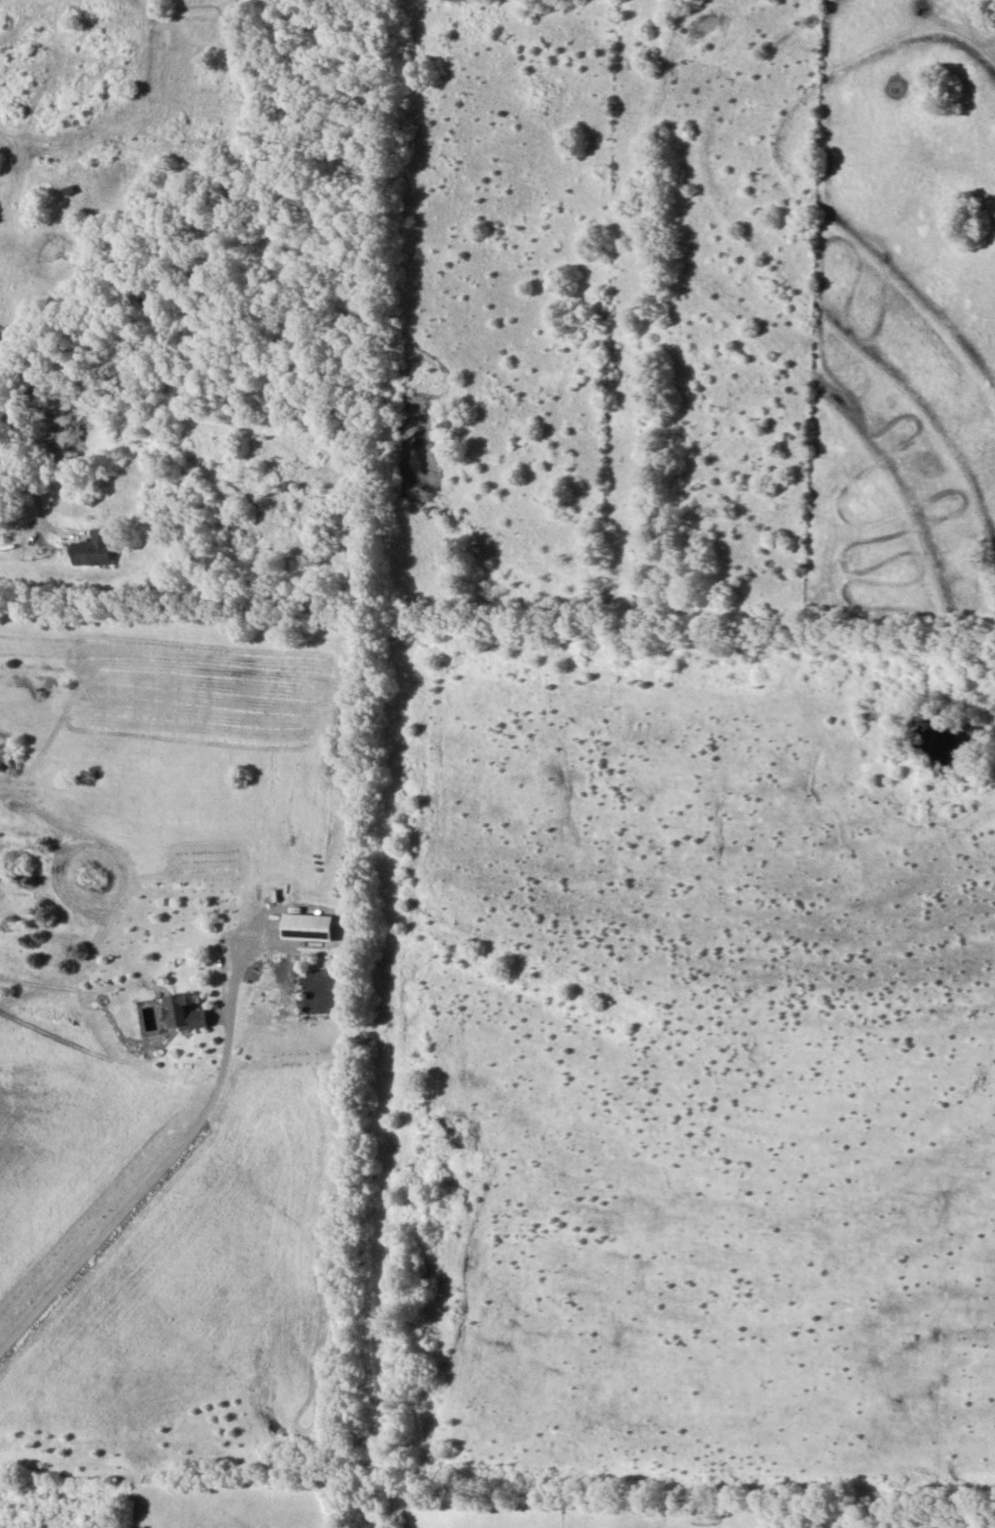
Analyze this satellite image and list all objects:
road: (22, 463)
building: (95, 550)
building: (309, 928)
building: (186, 1014)
road: (133, 1201)

